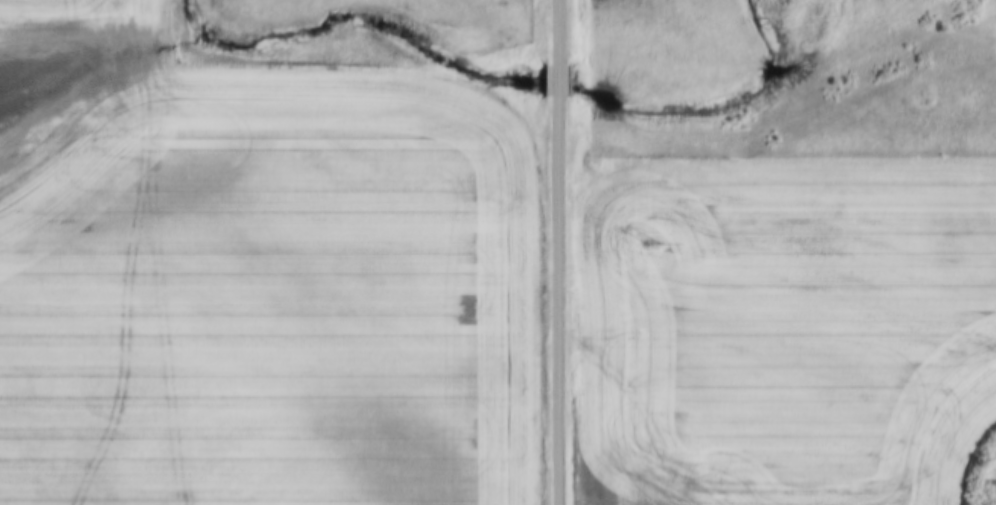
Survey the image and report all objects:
road: (557, 33)
road: (558, 81)
power tower: (650, 244)
road: (559, 300)

